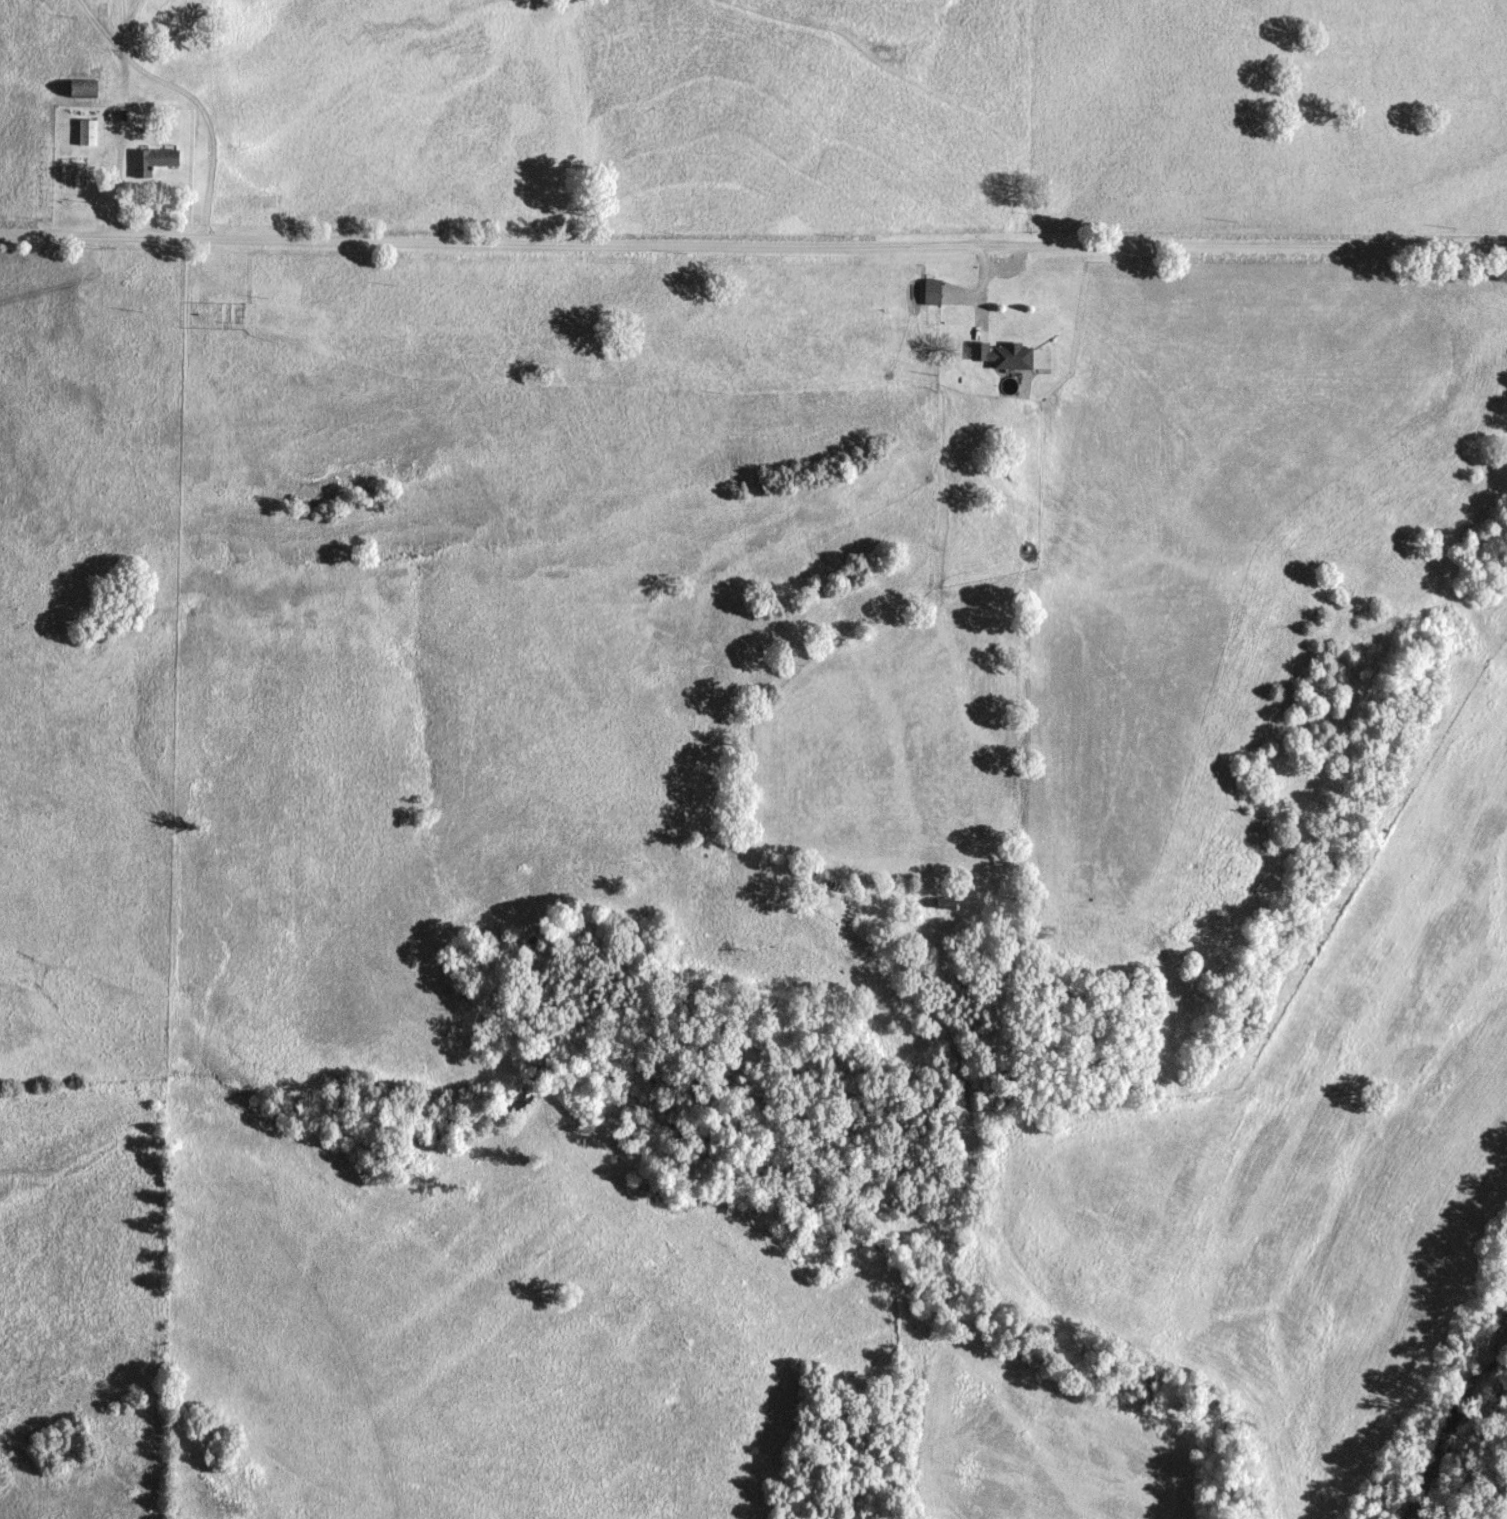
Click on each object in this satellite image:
building: (86, 89)
building: (89, 133)
building: (153, 161)
road: (753, 241)
building: (934, 292)
building: (1005, 356)

